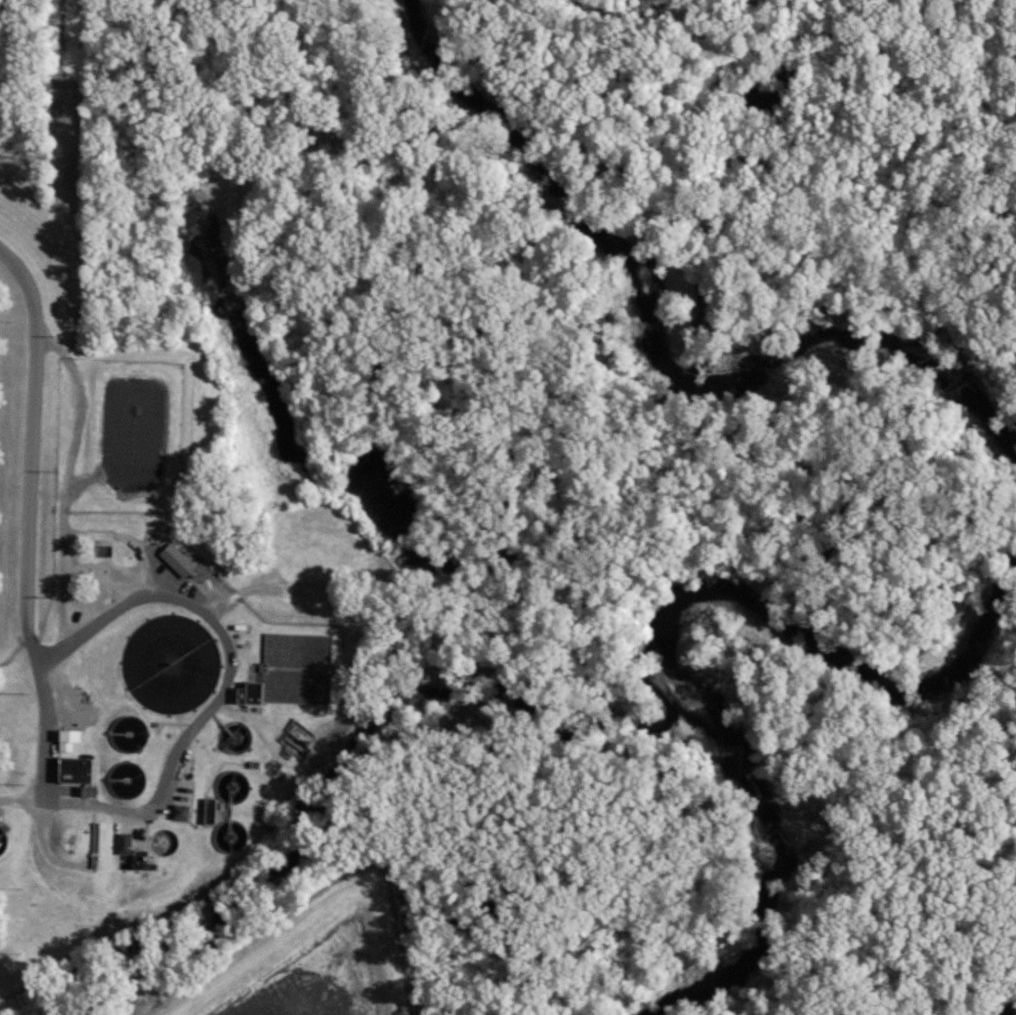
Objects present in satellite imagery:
road: (63, 354)
road: (31, 445)
road: (126, 537)
wastewater plant: (175, 545)
road: (59, 554)
building: (175, 560)
road: (180, 735)
building: (66, 740)
building: (75, 774)
building: (178, 813)
building: (122, 843)

